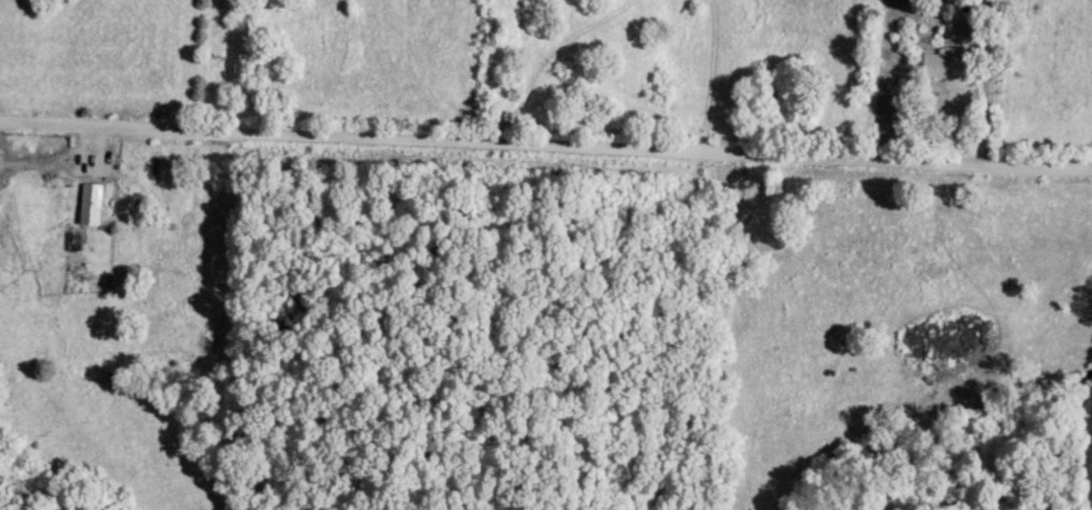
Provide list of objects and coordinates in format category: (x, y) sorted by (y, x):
building: (992, 5)
building: (941, 67)
road: (982, 84)
road: (545, 151)
building: (89, 199)

